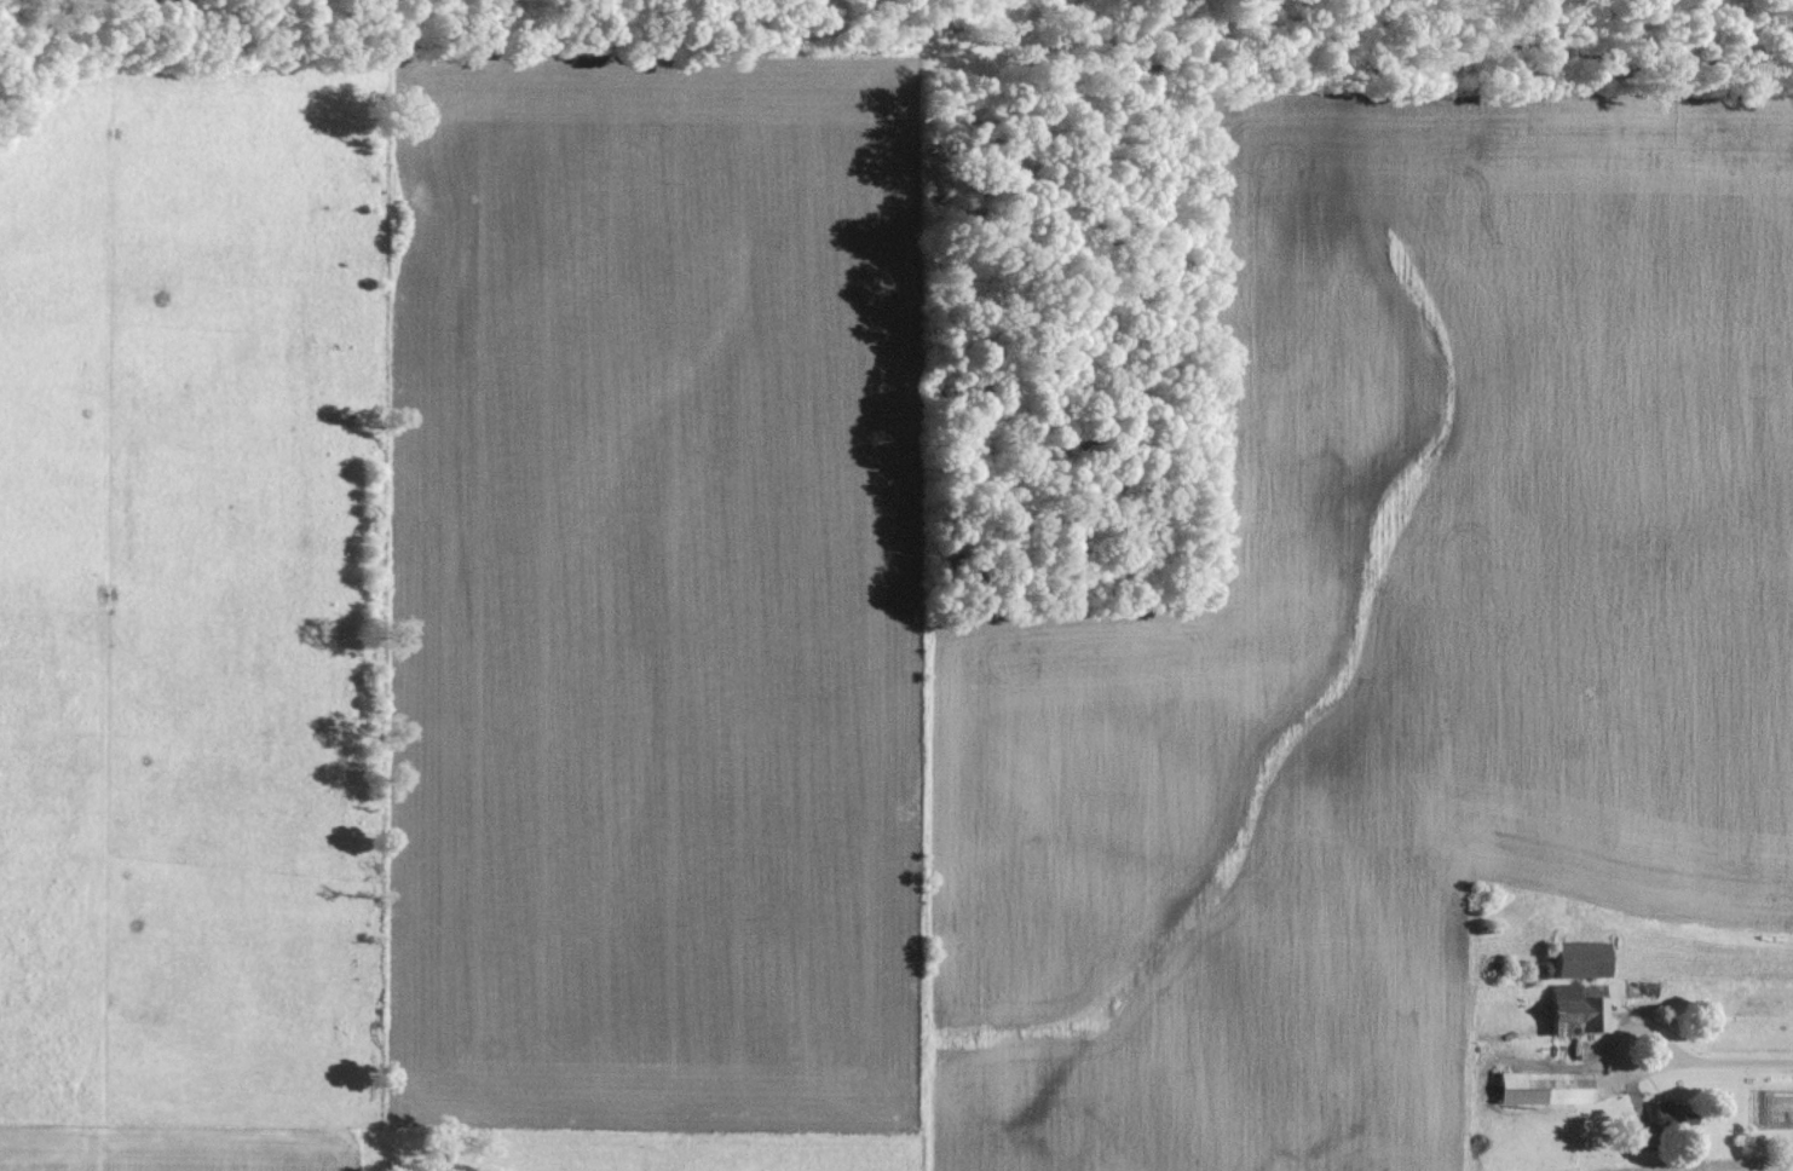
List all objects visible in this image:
building: (1587, 961)
building: (1584, 1009)
road: (1625, 1063)
road: (1736, 1066)
building: (1551, 1089)
building: (1672, 1112)

